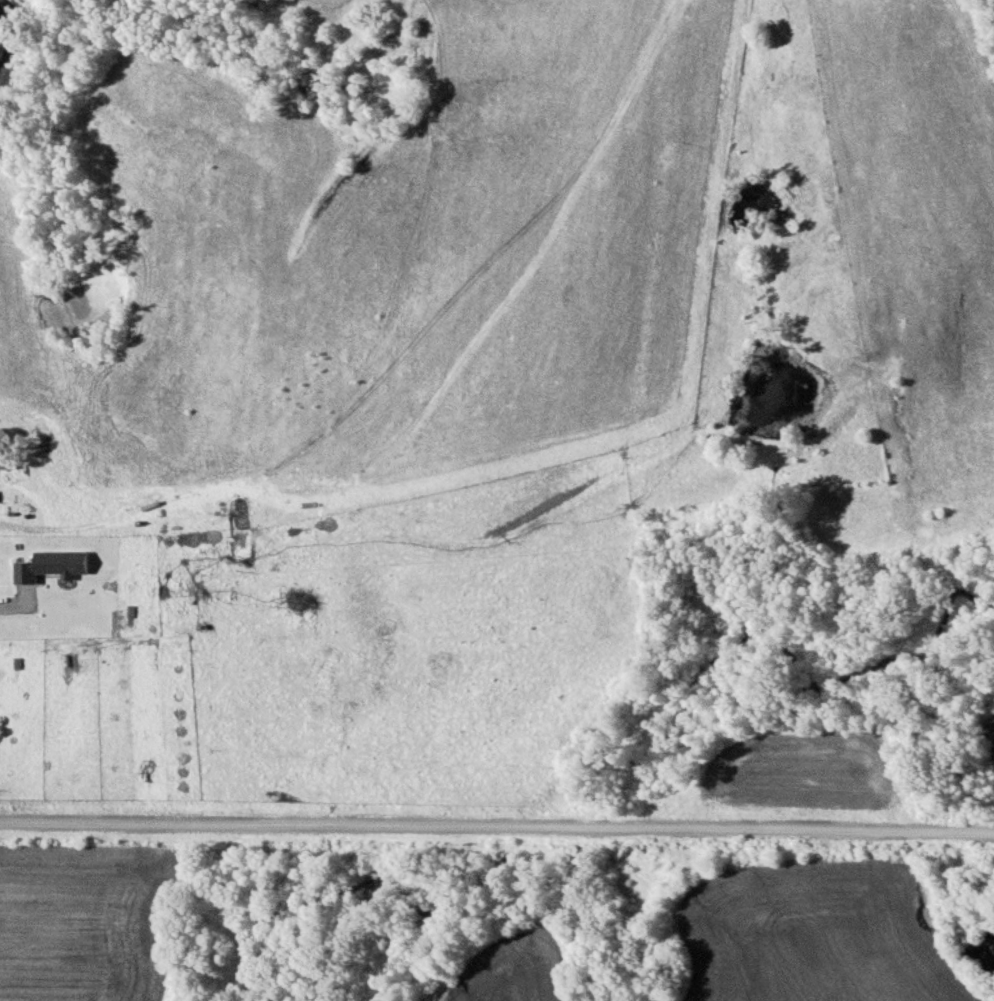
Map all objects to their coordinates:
building: (6, 468)
building: (47, 564)
road: (497, 822)

